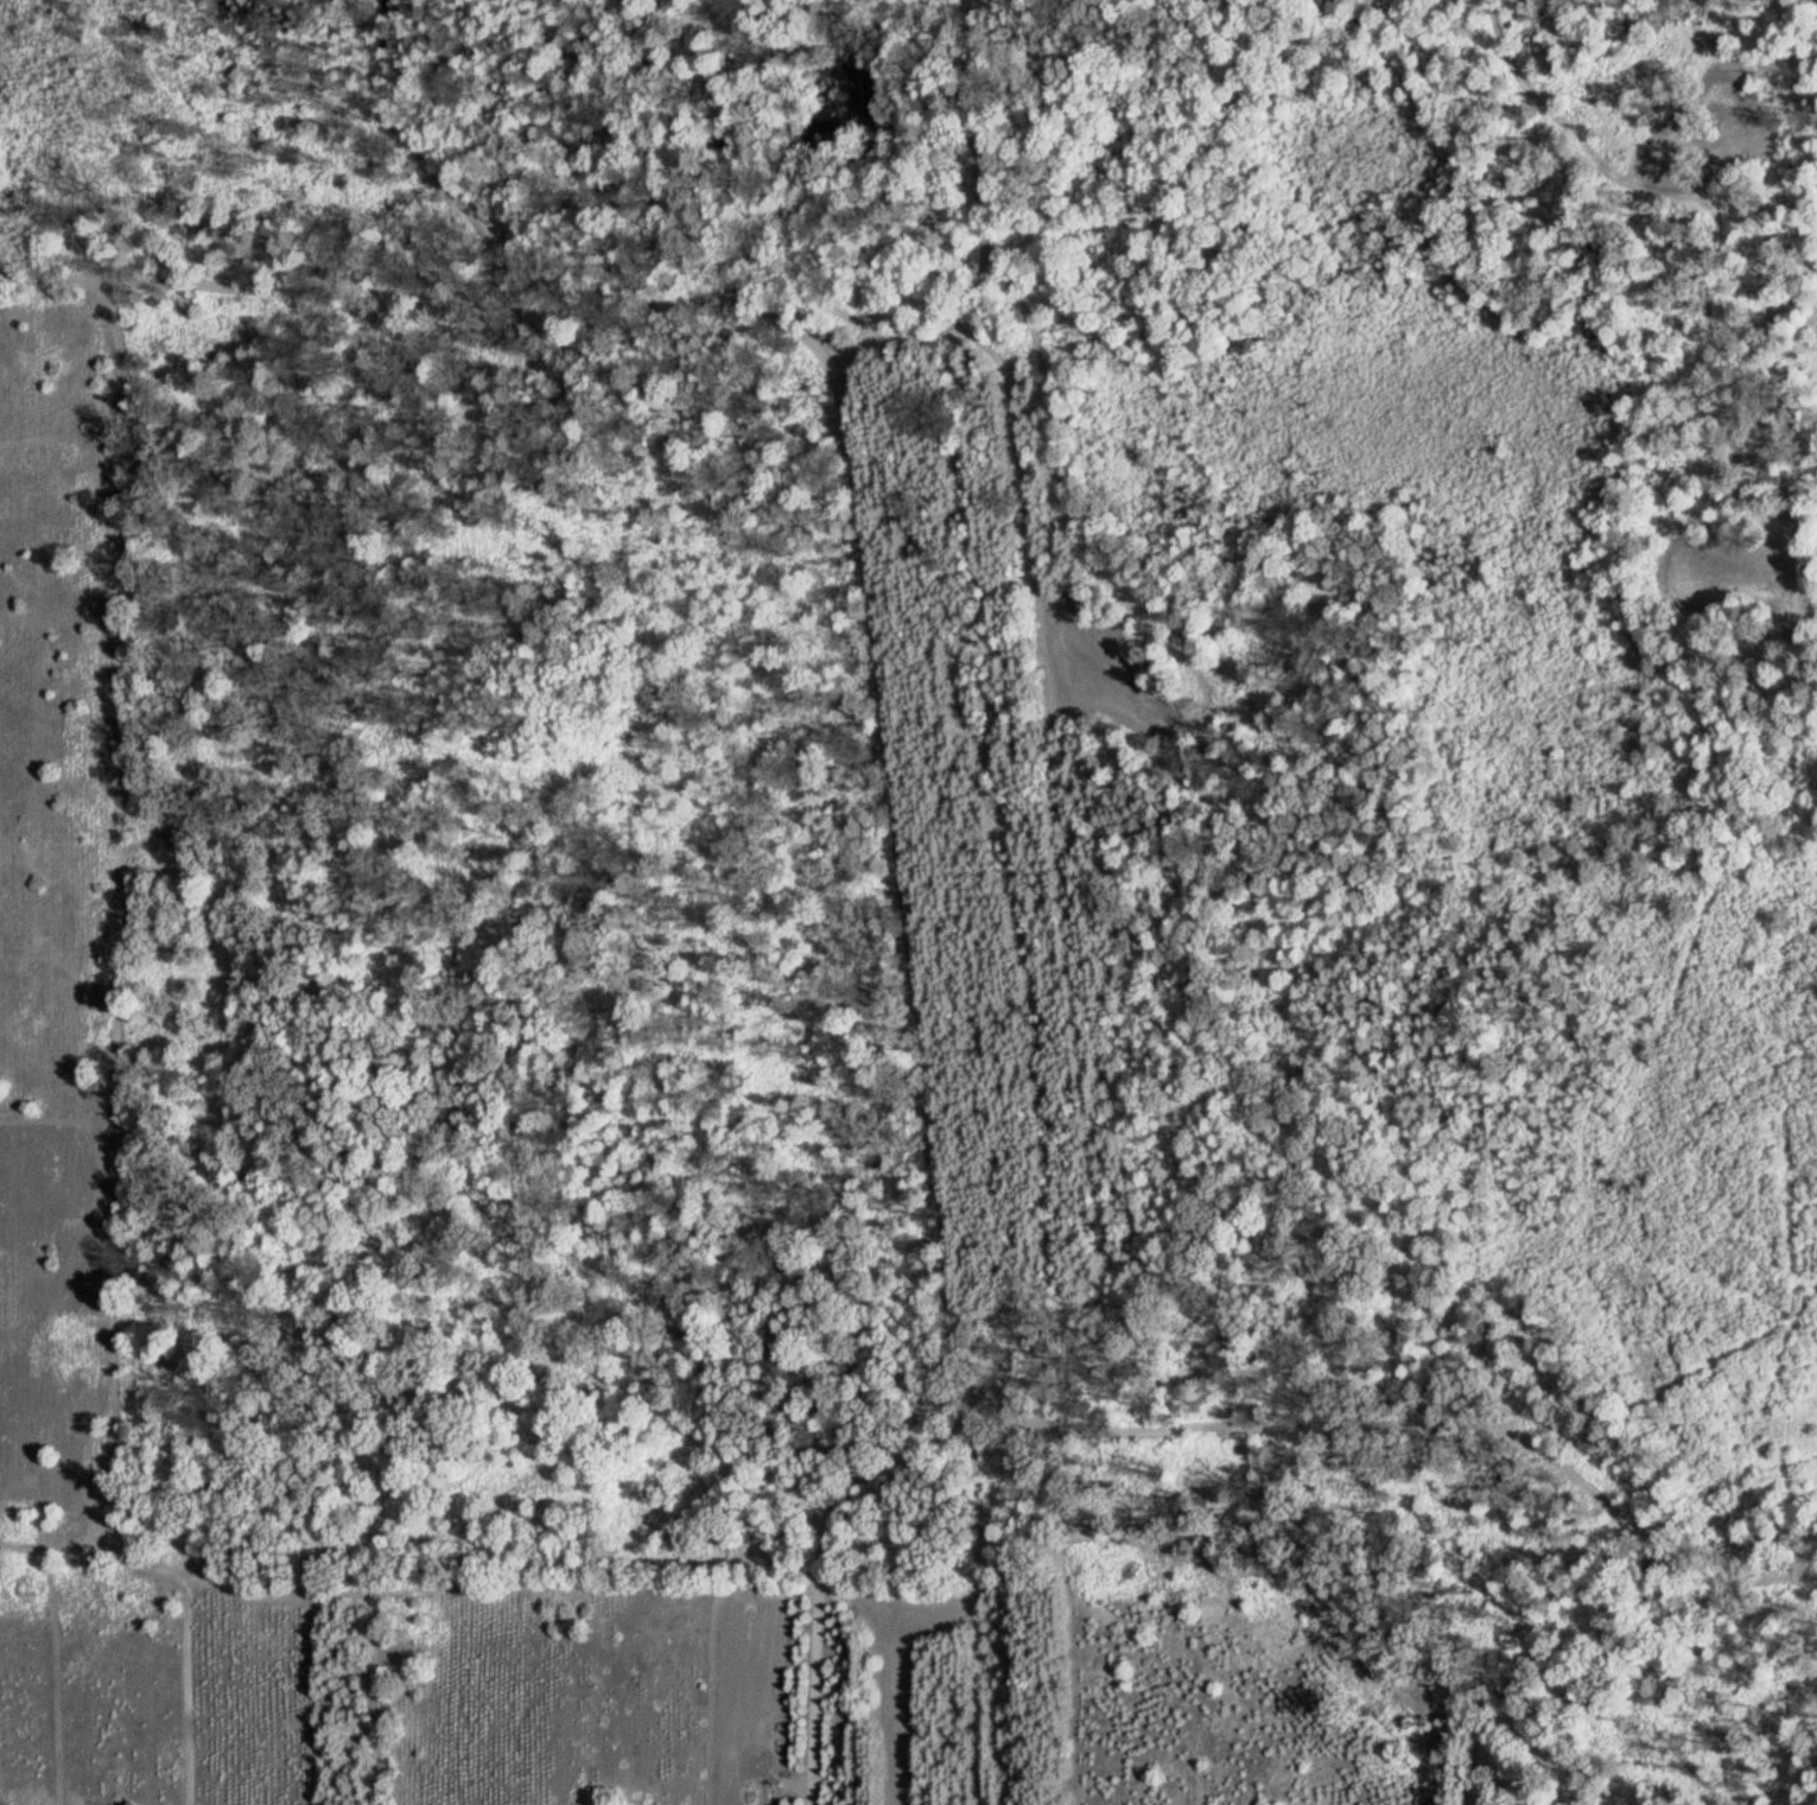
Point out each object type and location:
road: (420, 146)
road: (249, 284)

